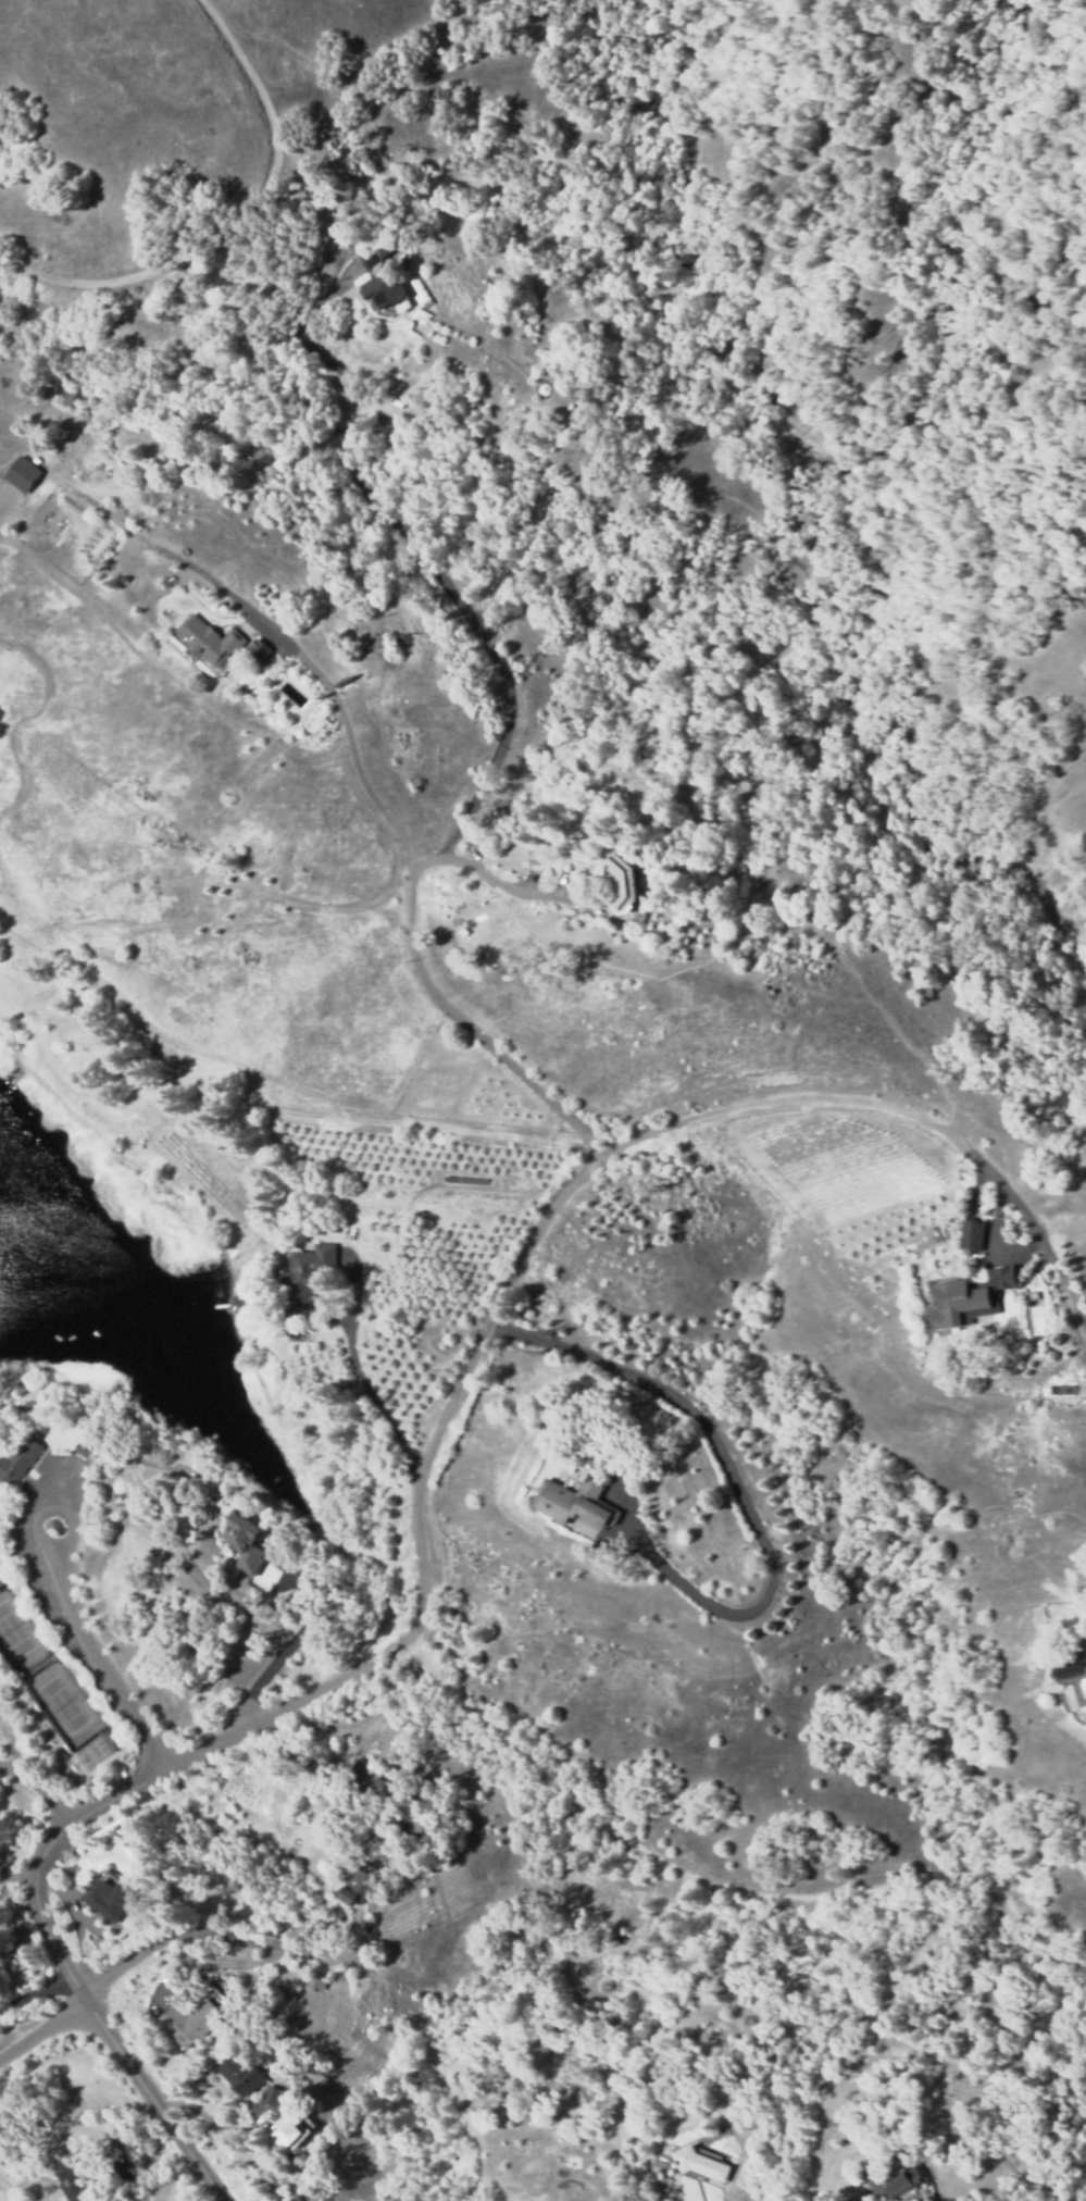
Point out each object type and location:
building: (366, 256)
building: (383, 289)
building: (25, 472)
building: (209, 641)
building: (259, 651)
building: (624, 882)
building: (974, 1236)
building: (1002, 1277)
building: (304, 1278)
building: (956, 1302)
building: (79, 1448)
building: (18, 1462)
road: (411, 1485)
building: (575, 1504)
building: (239, 1543)
road: (113, 1643)
building: (1071, 1665)
building: (108, 1738)
building: (374, 1781)
road: (37, 1790)
building: (414, 1824)
building: (357, 1885)
building: (107, 1901)
road: (219, 1942)
building: (319, 1984)
building: (191, 2023)
road: (43, 2032)
building: (242, 2077)
building: (273, 2096)
building: (290, 2132)
building: (700, 2162)
building: (894, 2177)
building: (76, 2181)
building: (297, 2199)
building: (892, 2199)

